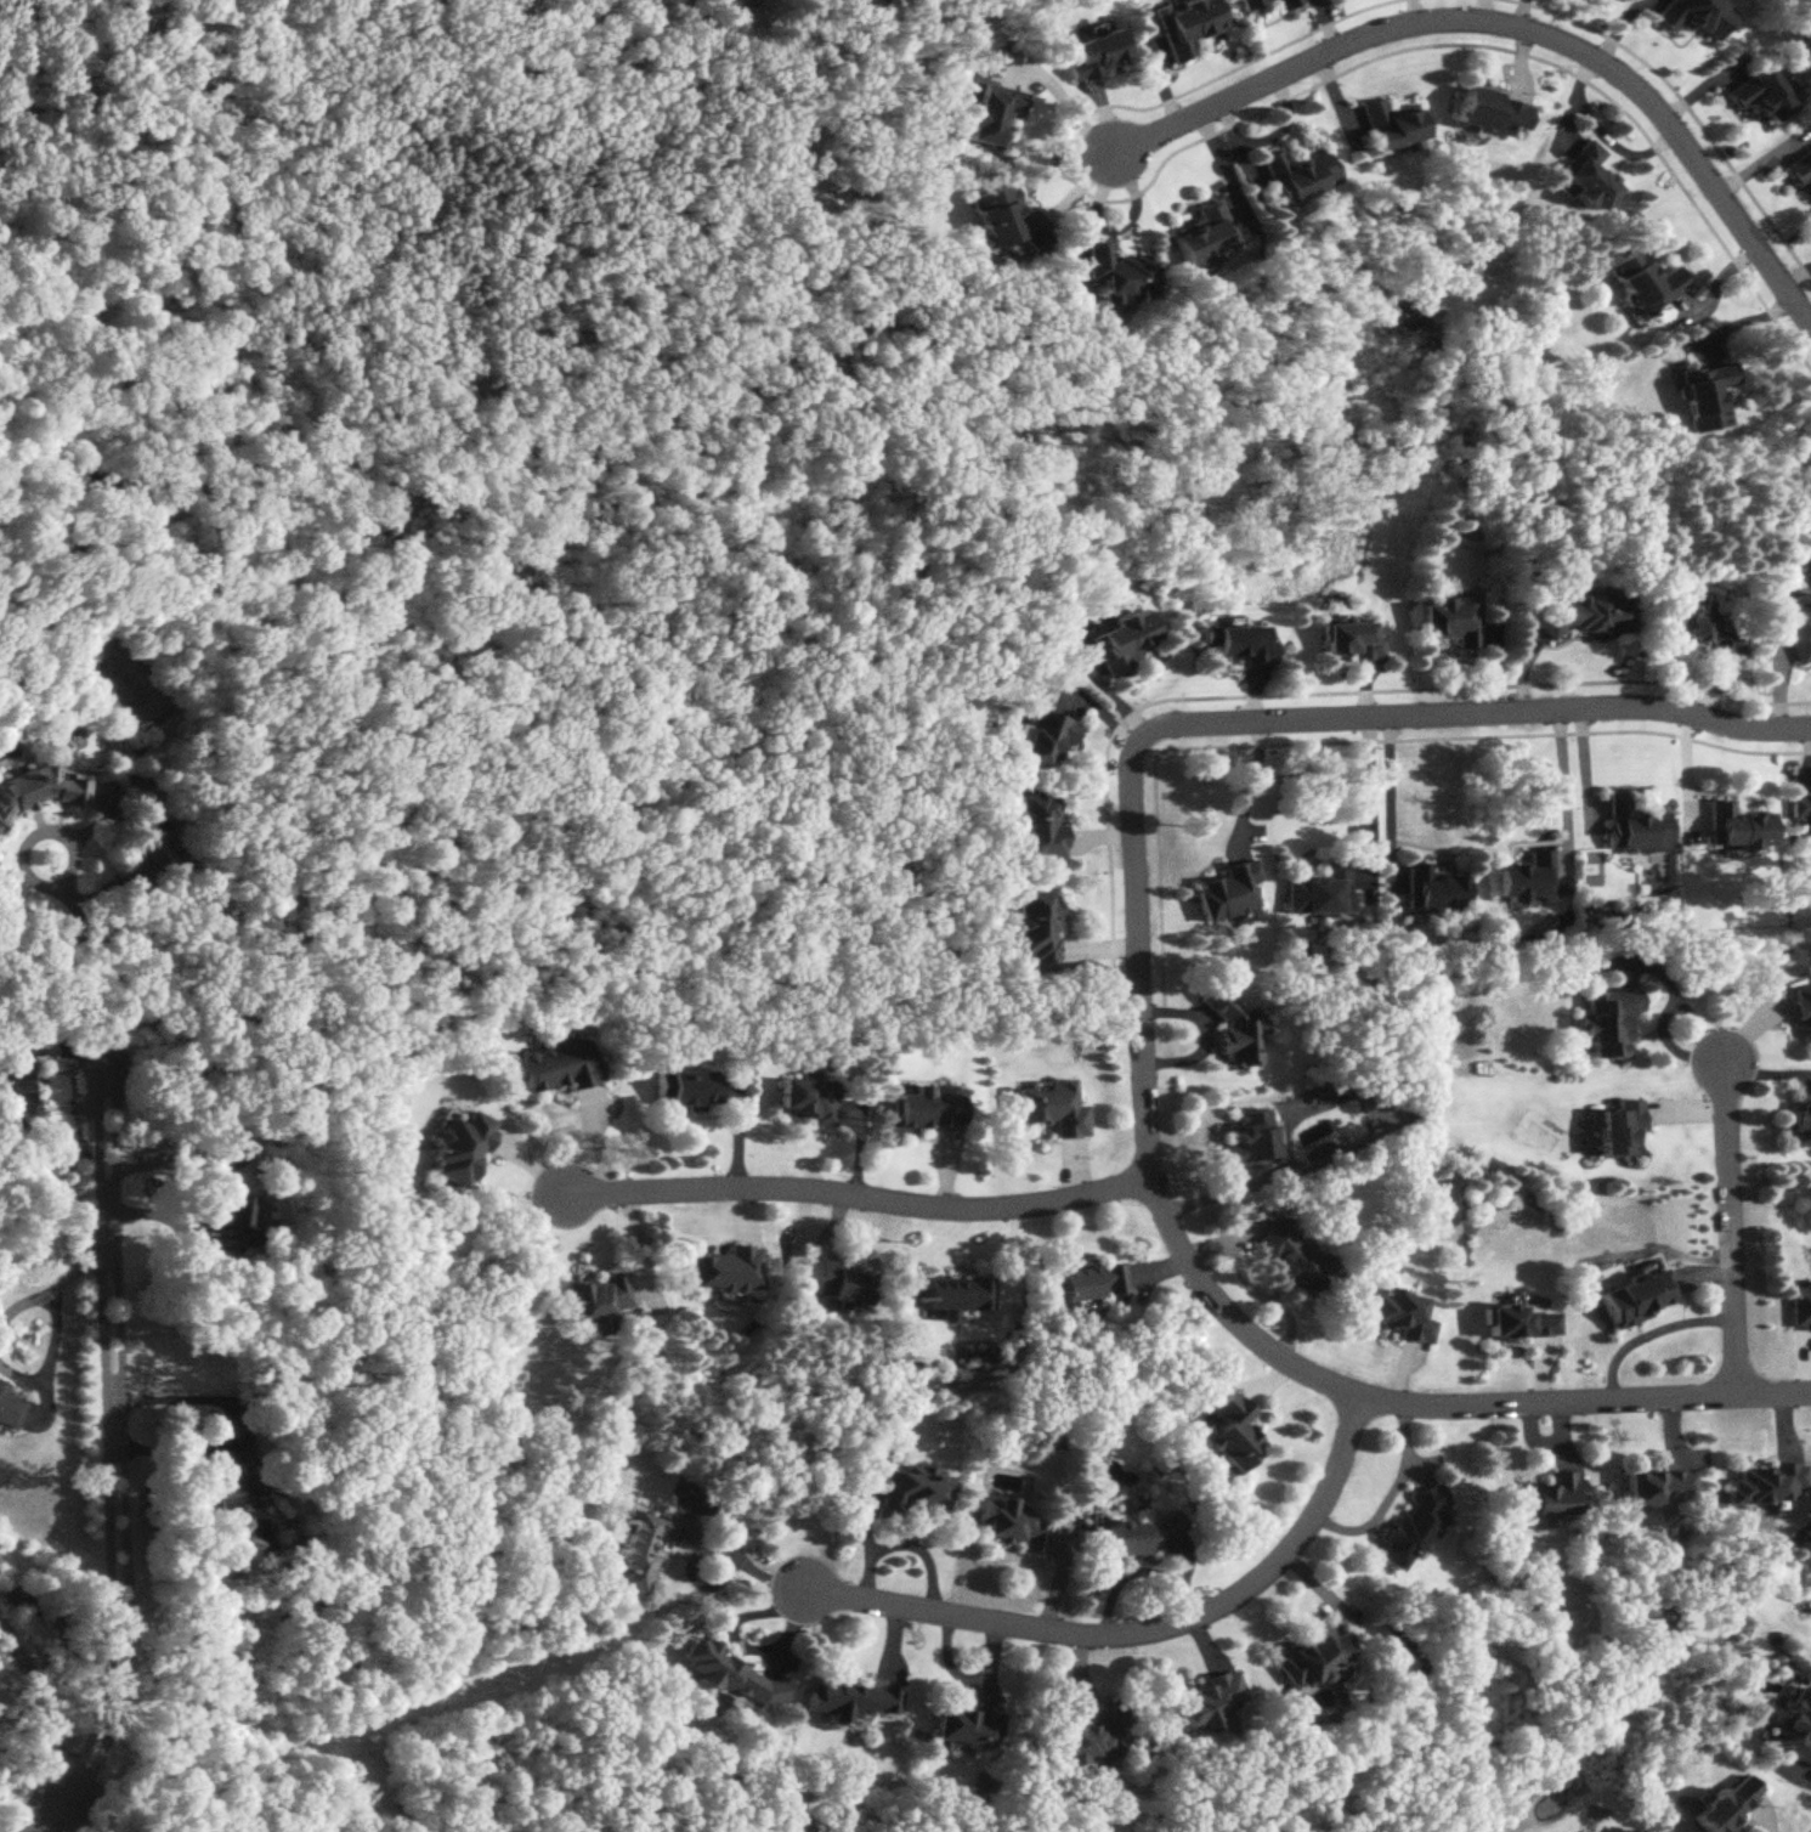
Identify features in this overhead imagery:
building: (1287, 4)
building: (1249, 6)
building: (1694, 16)
road: (1513, 22)
building: (1183, 24)
building: (1091, 55)
building: (1756, 95)
road: (1065, 102)
building: (1490, 109)
building: (990, 112)
building: (1392, 123)
building: (1798, 168)
building: (1298, 174)
building: (1588, 174)
building: (1003, 215)
building: (1206, 233)
building: (1121, 272)
building: (1646, 279)
building: (1705, 394)
building: (1583, 614)
building: (1449, 620)
building: (1702, 626)
building: (1798, 626)
building: (1119, 639)
building: (1343, 639)
building: (1234, 643)
road: (1468, 713)
building: (1047, 736)
road: (1564, 785)
road: (1250, 787)
building: (40, 790)
road: (1366, 795)
road: (1385, 795)
building: (1802, 810)
building: (1039, 822)
building: (1637, 824)
building: (1738, 825)
building: (1526, 875)
building: (1432, 888)
building: (1319, 889)
building: (1229, 890)
building: (1036, 925)
road: (80, 956)
building: (1804, 1007)
building: (1608, 1020)
building: (1234, 1025)
building: (556, 1064)
road: (102, 1072)
road: (107, 1081)
building: (687, 1087)
building: (19, 1090)
building: (809, 1098)
building: (1053, 1107)
building: (928, 1108)
building: (1801, 1118)
building: (1250, 1137)
building: (462, 1146)
road: (102, 1189)
road: (214, 1192)
road: (860, 1194)
building: (238, 1221)
road: (1730, 1222)
road: (113, 1250)
building: (1296, 1260)
road: (77, 1268)
building: (726, 1268)
building: (1090, 1280)
building: (837, 1282)
building: (955, 1294)
building: (1637, 1297)
building: (594, 1299)
road: (24, 1302)
building: (1800, 1306)
building: (1402, 1312)
building: (1519, 1321)
road: (1235, 1322)
road: (1651, 1333)
road: (50, 1357)
building: (9, 1409)
building: (1233, 1432)
road: (125, 1457)
building: (1766, 1483)
building: (230, 1488)
building: (1659, 1488)
building: (911, 1491)
building: (1549, 1497)
road: (111, 1515)
building: (1012, 1525)
building: (1414, 1527)
building: (1142, 1536)
road: (906, 1542)
building: (647, 1545)
road: (735, 1555)
road: (1138, 1625)
building: (1311, 1657)
building: (731, 1673)
road: (39, 1690)
building: (853, 1701)
building: (1209, 1701)
building: (966, 1726)
building: (1795, 1728)
building: (1092, 1736)
road: (72, 1780)
road: (66, 1794)
building: (1725, 1805)
road: (44, 1819)
building: (1631, 1830)

